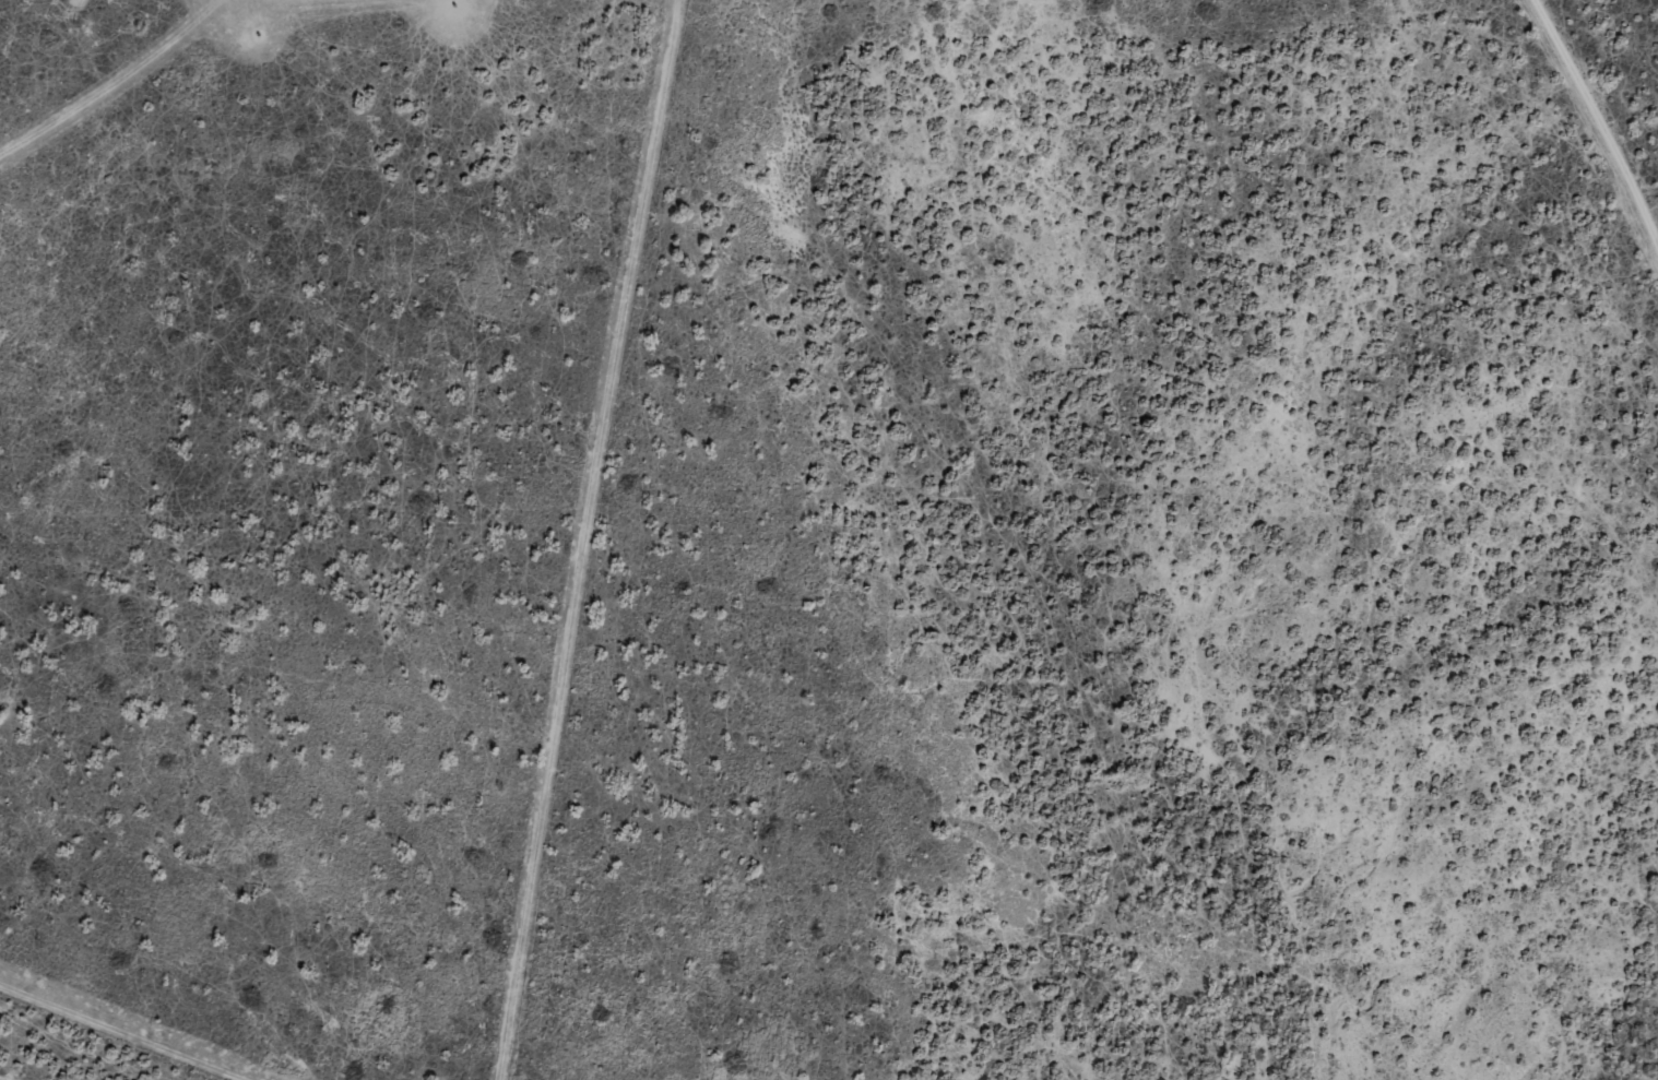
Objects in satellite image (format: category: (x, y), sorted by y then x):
road: (1592, 116)

